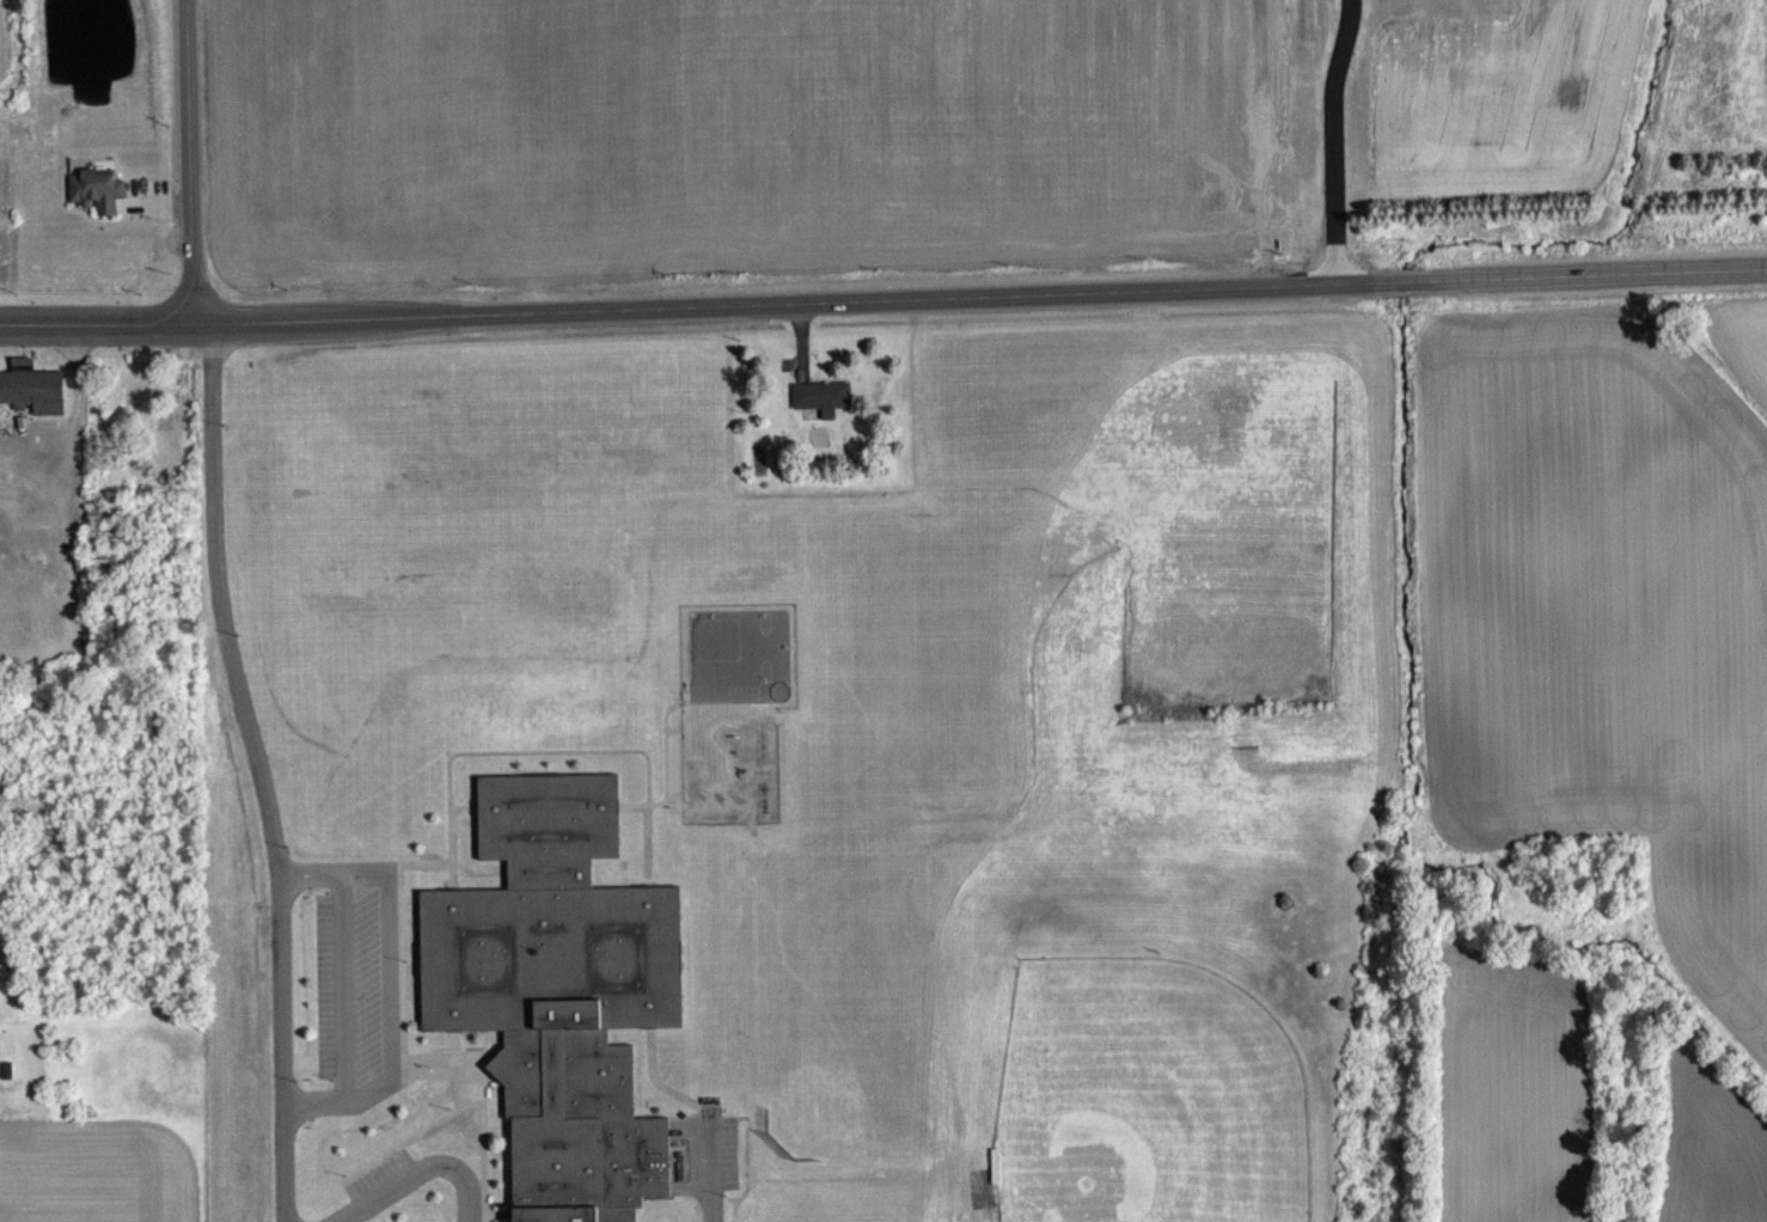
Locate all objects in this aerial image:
road: (1331, 140)
road: (188, 160)
building: (96, 189)
road: (980, 293)
road: (97, 320)
building: (32, 386)
building: (821, 395)
building: (824, 410)
park: (738, 654)
road: (256, 769)
road: (312, 886)
building: (560, 991)
road: (387, 992)
road: (348, 1002)
road: (317, 1120)
road: (426, 1172)

